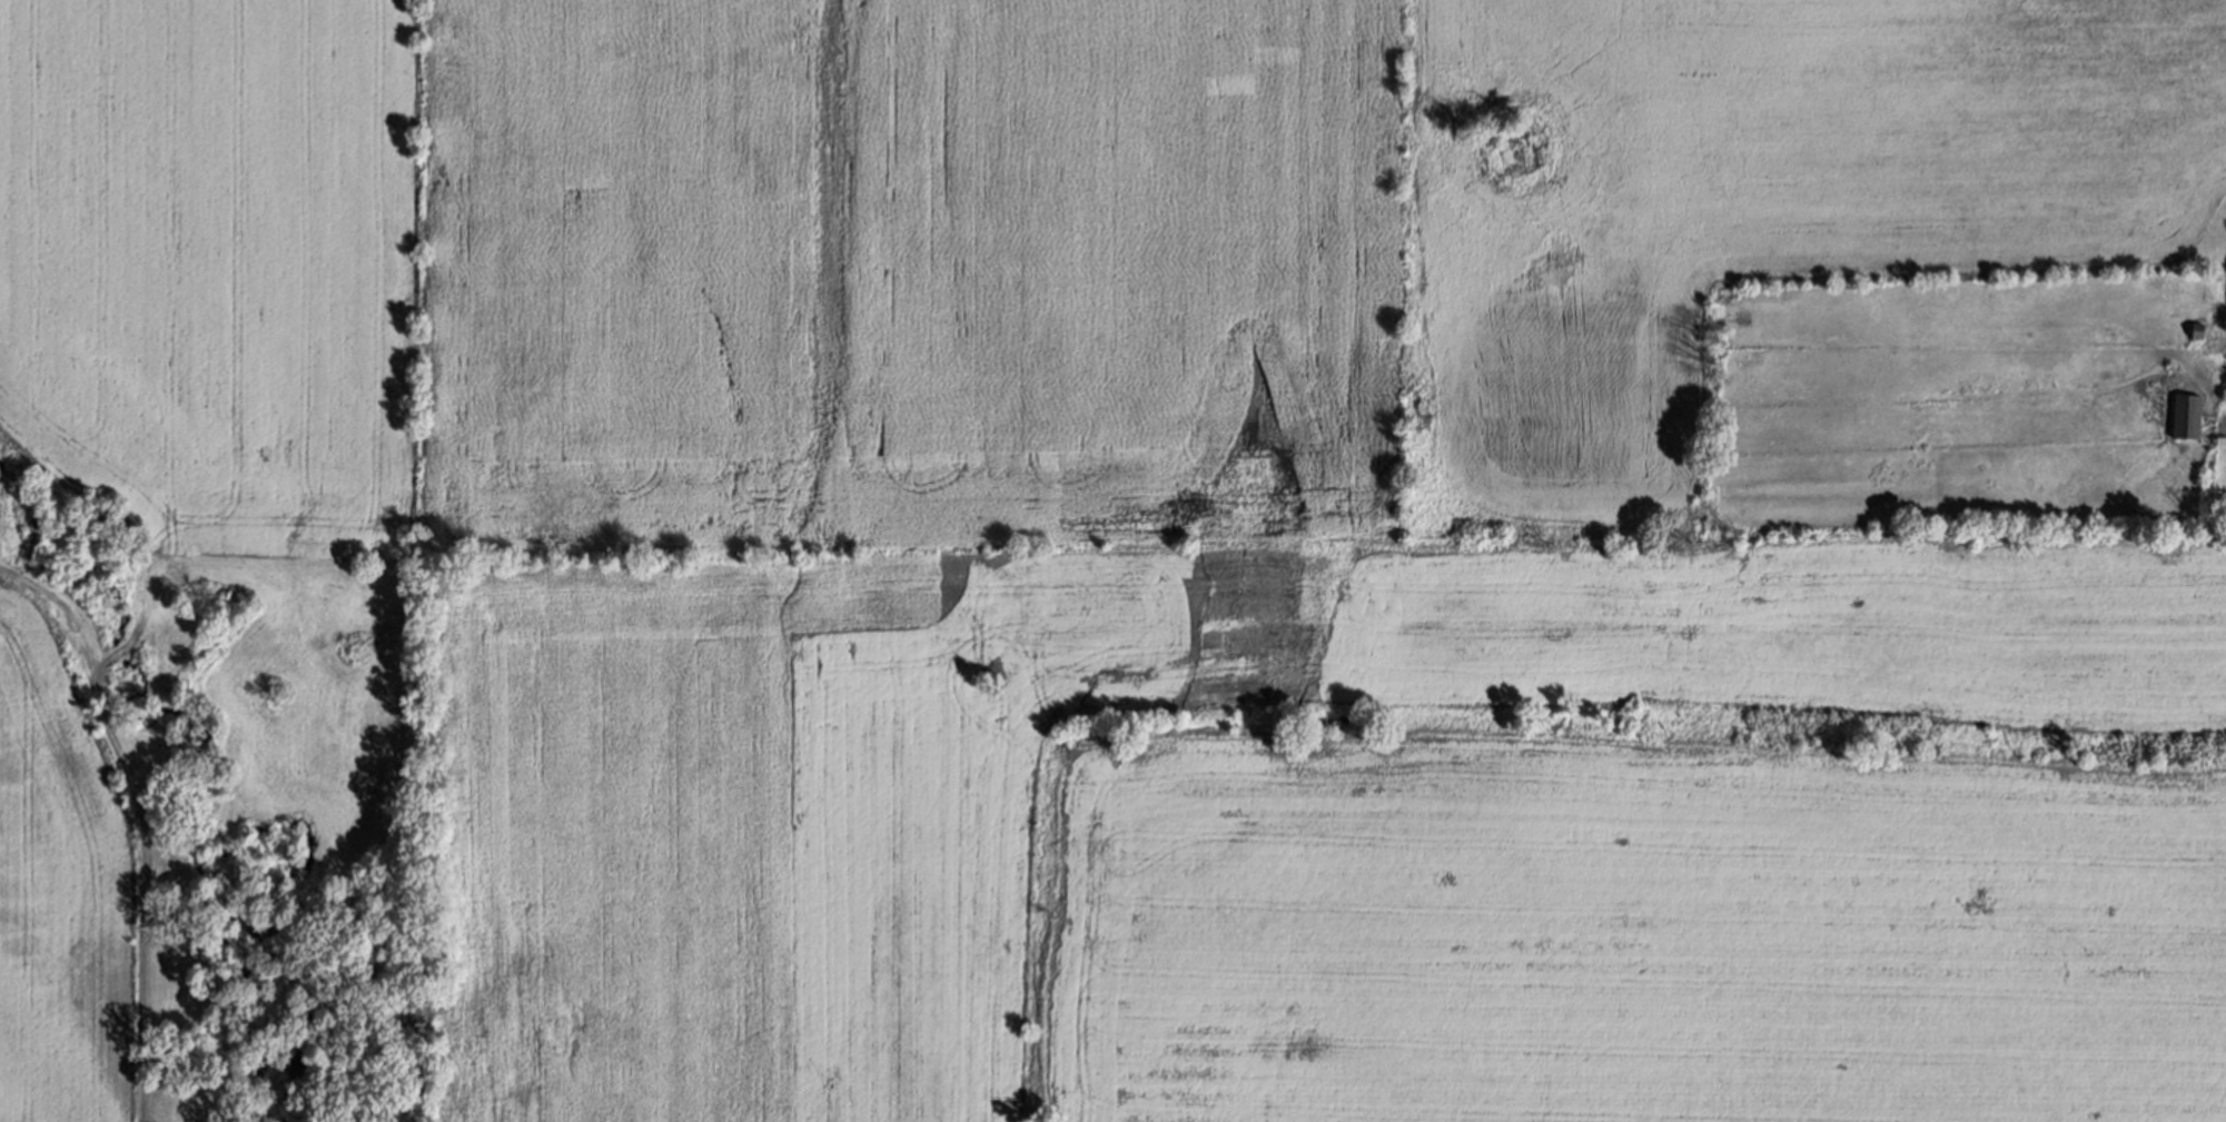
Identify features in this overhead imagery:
building: (2198, 328)
building: (2188, 415)

